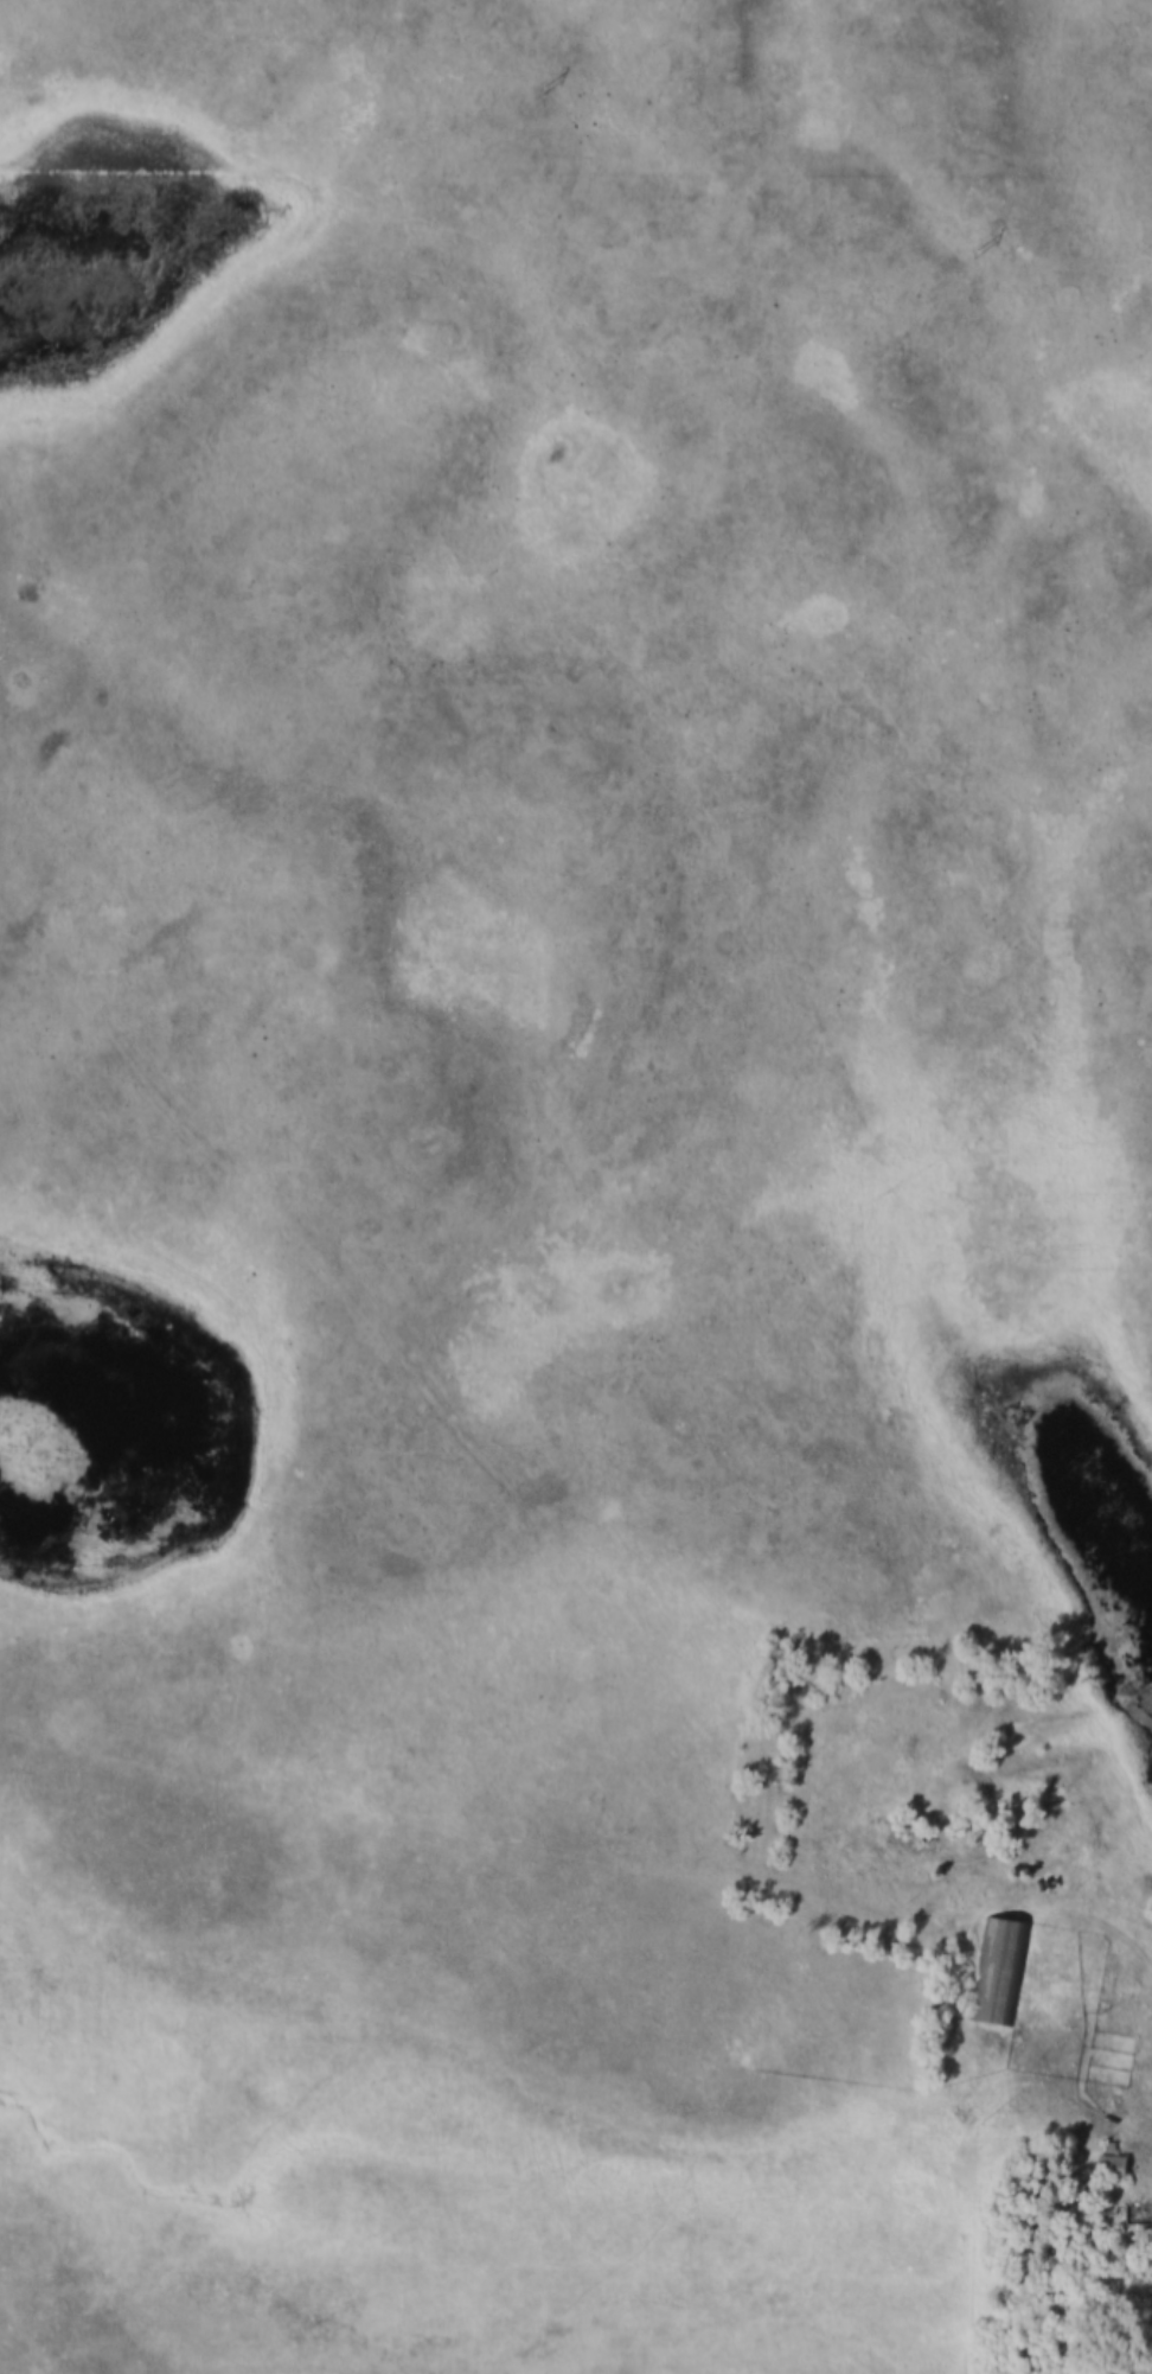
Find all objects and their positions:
building: (998, 1971)
building: (1062, 2053)
building: (1115, 2168)
building: (1138, 2213)

